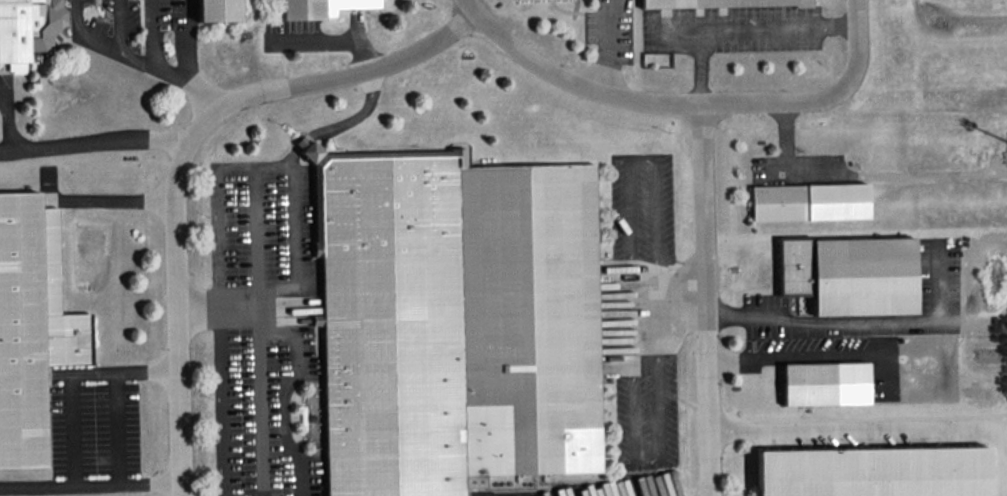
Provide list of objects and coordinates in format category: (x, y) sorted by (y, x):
building: (719, 3)
parking lot: (361, 4)
building: (319, 8)
building: (218, 10)
road: (117, 24)
building: (23, 28)
parking lot: (730, 29)
road: (82, 31)
parking lot: (610, 31)
road: (331, 39)
parking lot: (170, 44)
road: (187, 44)
road: (607, 44)
road: (152, 53)
road: (135, 60)
road: (571, 82)
road: (816, 93)
road: (203, 99)
parking lot: (7, 119)
road: (7, 123)
road: (102, 141)
road: (10, 150)
road: (173, 152)
road: (117, 198)
building: (809, 201)
parking lot: (642, 206)
road: (299, 228)
building: (851, 273)
road: (709, 299)
road: (246, 306)
parking lot: (769, 306)
building: (456, 322)
road: (826, 323)
building: (31, 325)
parking lot: (266, 331)
road: (258, 334)
road: (148, 372)
building: (825, 383)
road: (223, 401)
road: (70, 407)
parking lot: (646, 411)
parking lot: (93, 428)
road: (118, 428)
road: (885, 428)
building: (875, 471)
road: (92, 486)

